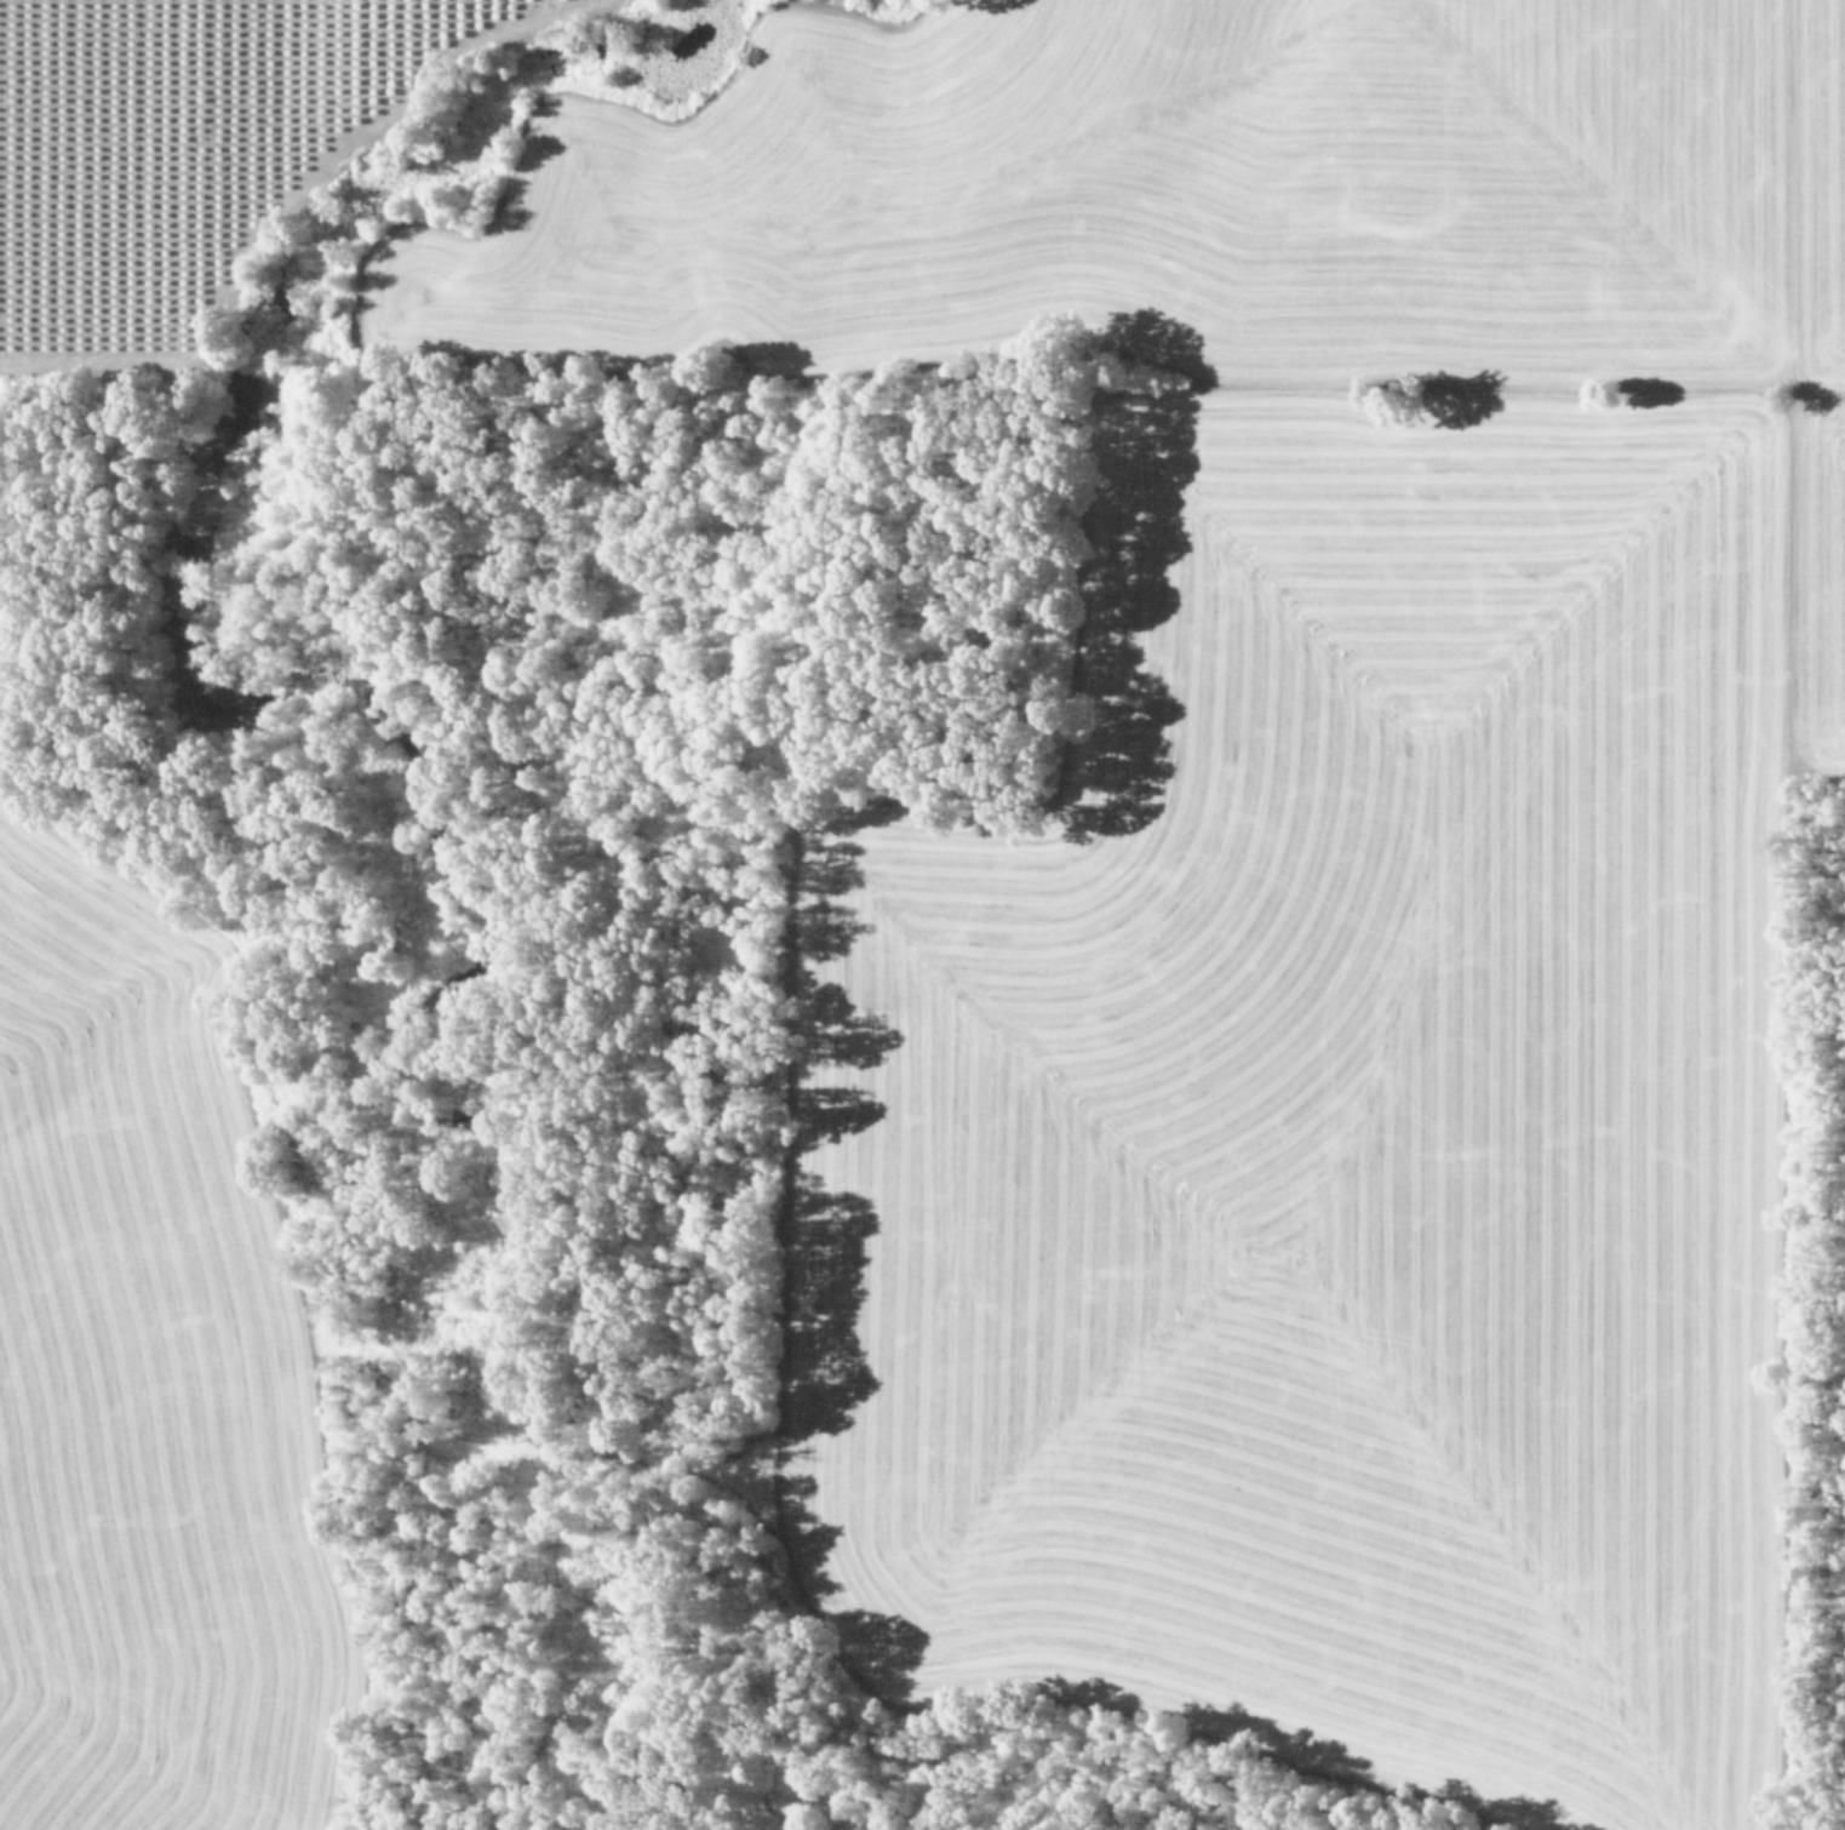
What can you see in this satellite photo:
crop: (1202, 796)
crop: (122, 1377)

